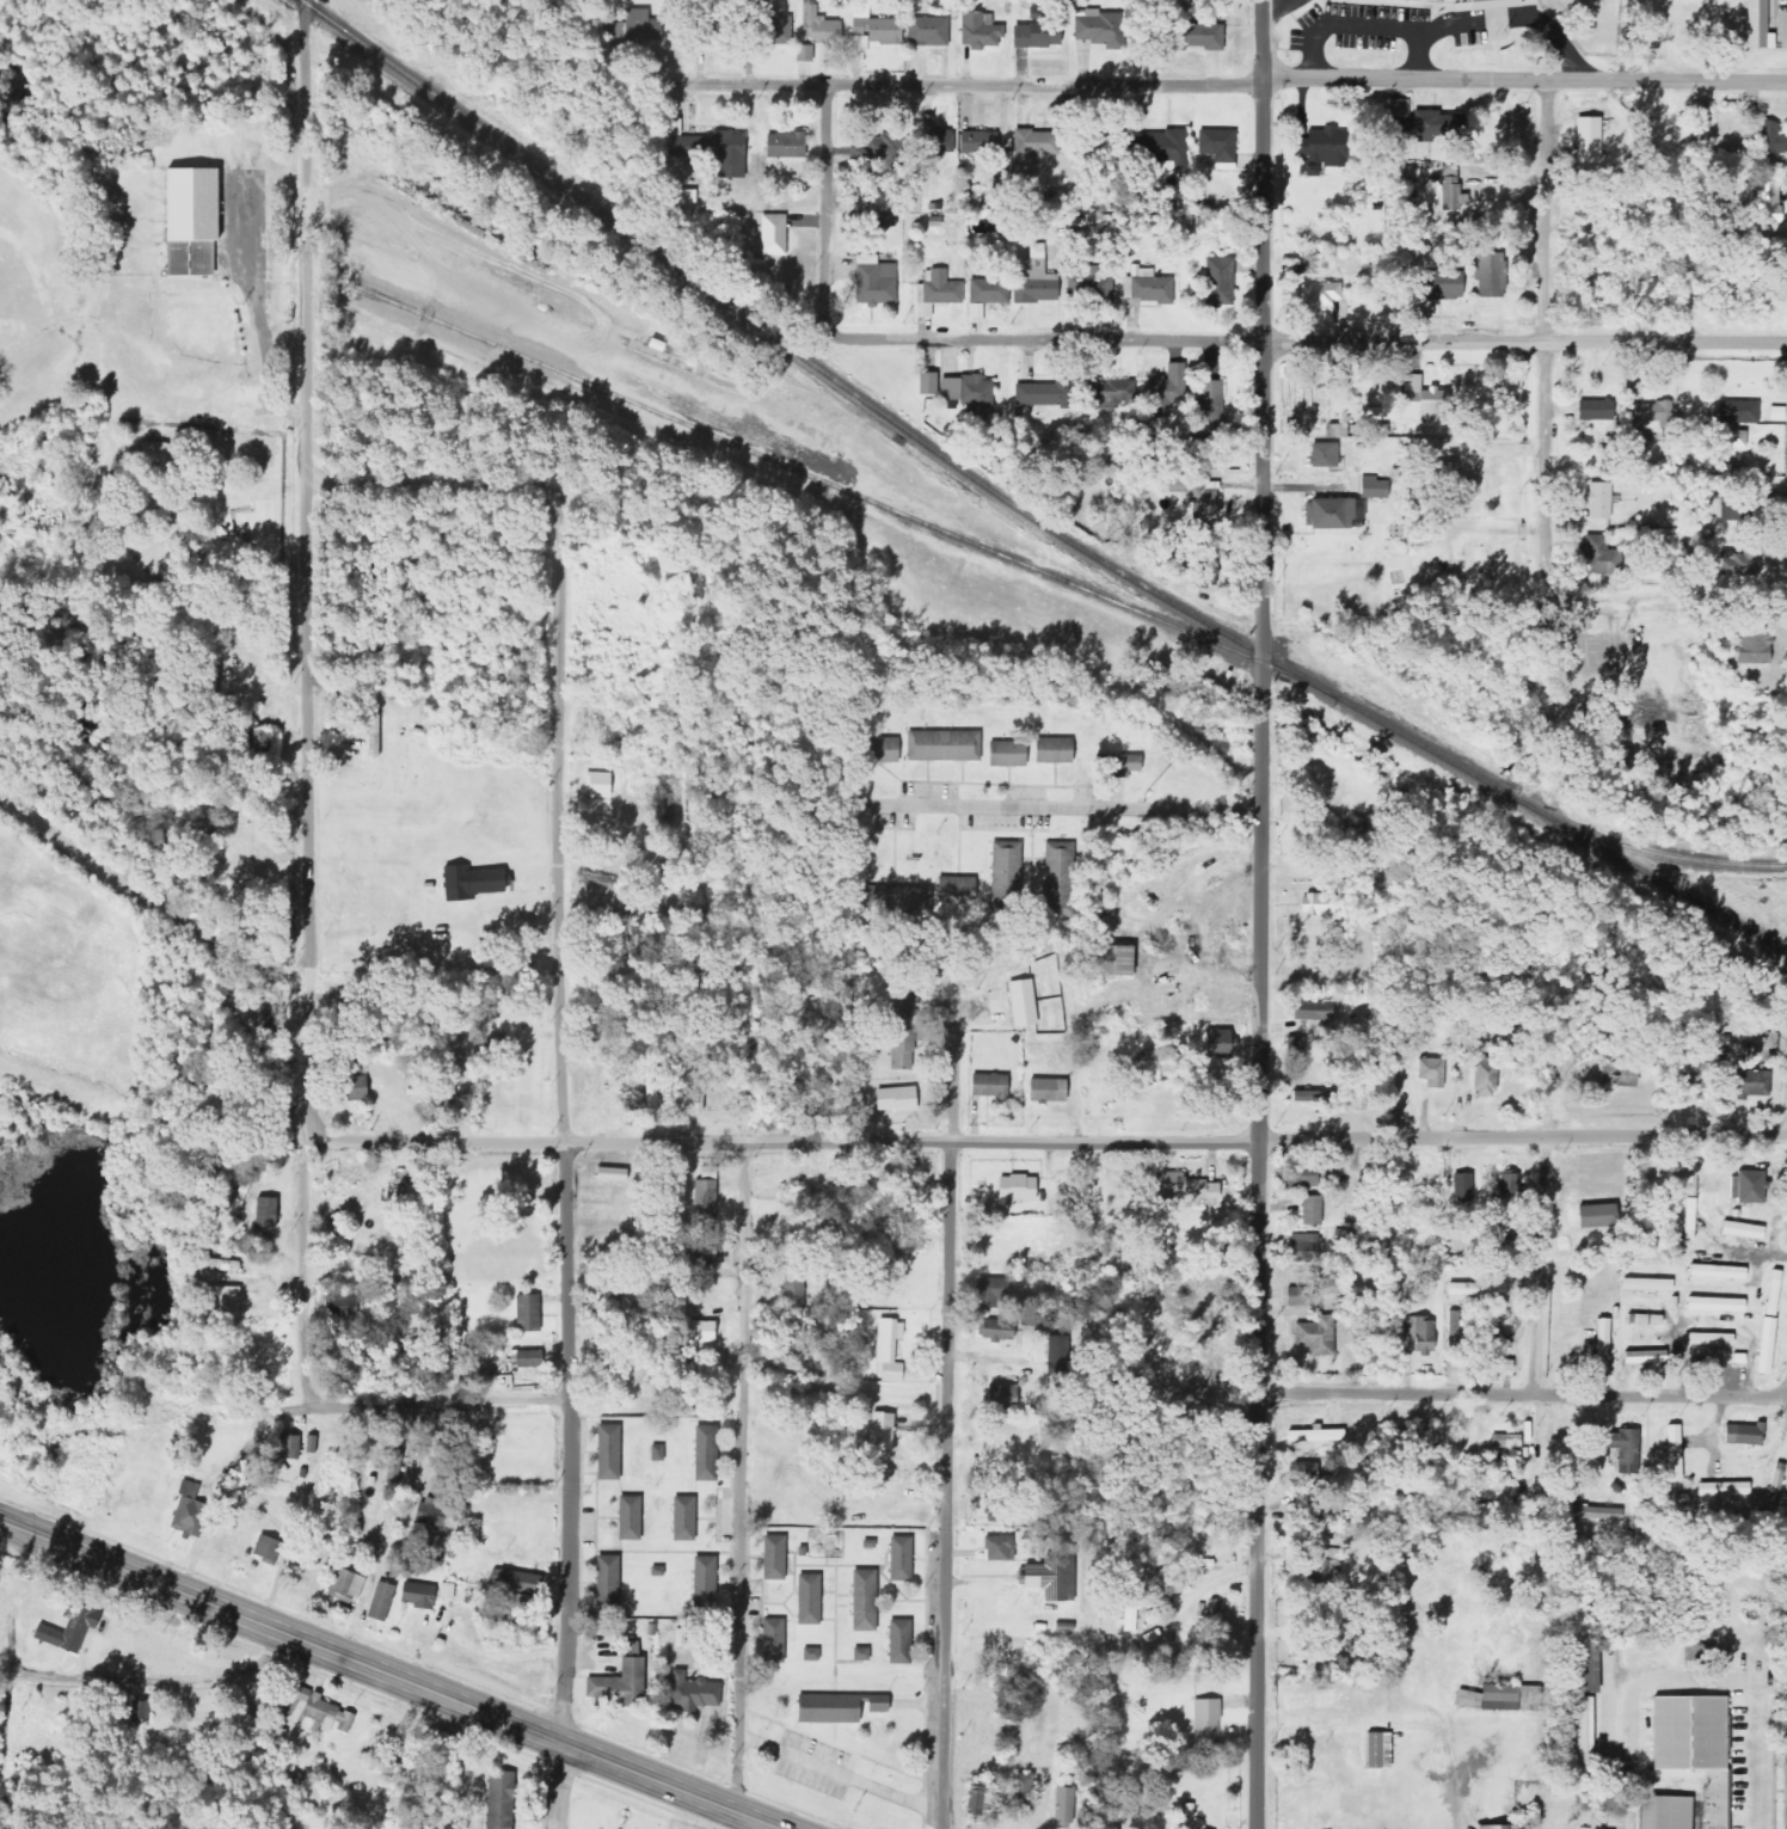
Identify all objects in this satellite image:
building: (1491, 4)
road: (1281, 7)
road: (1518, 17)
building: (1756, 23)
building: (818, 25)
parking lot: (1361, 26)
building: (635, 27)
building: (1095, 27)
road: (1371, 27)
building: (773, 30)
building: (873, 30)
building: (928, 31)
building: (980, 31)
building: (1037, 31)
building: (805, 53)
road: (1226, 86)
building: (1413, 122)
building: (1769, 137)
building: (1589, 140)
building: (938, 142)
building: (977, 142)
building: (1217, 145)
building: (785, 146)
building: (1167, 149)
building: (1320, 149)
building: (718, 152)
building: (879, 152)
building: (1768, 202)
road: (825, 210)
building: (189, 221)
building: (774, 235)
building: (1307, 260)
building: (1491, 276)
building: (1036, 280)
building: (874, 281)
building: (1218, 281)
building: (1095, 283)
building: (1441, 286)
building: (1147, 287)
building: (937, 291)
building: (989, 291)
building: (1320, 294)
road: (256, 303)
road: (1546, 325)
road: (1308, 342)
park: (1, 349)
building: (927, 383)
building: (950, 388)
building: (1166, 391)
building: (1110, 393)
building: (1037, 395)
building: (980, 403)
building: (1423, 403)
building: (1210, 407)
building: (1596, 410)
building: (1652, 412)
building: (1740, 412)
building: (1736, 440)
building: (1324, 455)
building: (1443, 473)
road: (426, 483)
railway: (828, 484)
building: (1374, 487)
building: (1197, 499)
building: (1598, 501)
railway: (1020, 511)
building: (1728, 513)
building: (1331, 514)
building: (1599, 556)
building: (1740, 563)
building: (1204, 566)
building: (1754, 645)
road: (307, 705)
building: (374, 729)
building: (944, 745)
building: (880, 750)
building: (1054, 750)
building: (1007, 754)
building: (1120, 765)
road: (1069, 805)
railway: (1647, 851)
building: (469, 882)
building: (1056, 882)
road: (154, 889)
building: (958, 889)
building: (913, 897)
building: (1316, 904)
road: (1261, 914)
building: (1111, 960)
building: (1023, 1002)
building: (901, 1006)
building: (1312, 1008)
building: (901, 1049)
building: (1297, 1049)
building: (1431, 1073)
building: (1619, 1075)
building: (1485, 1078)
building: (1751, 1084)
building: (698, 1086)
building: (989, 1086)
building: (1691, 1086)
building: (449, 1087)
building: (355, 1088)
building: (1046, 1091)
building: (652, 1093)
building: (1314, 1097)
building: (896, 1099)
road: (565, 1115)
road: (1045, 1142)
building: (610, 1173)
building: (1301, 1176)
building: (1463, 1186)
building: (1504, 1186)
building: (1748, 1186)
building: (1185, 1187)
building: (1015, 1190)
building: (704, 1198)
building: (1312, 1210)
building: (265, 1213)
building: (1596, 1215)
building: (1690, 1219)
building: (1743, 1230)
building: (1304, 1247)
building: (706, 1252)
building: (1718, 1271)
building: (1647, 1284)
building: (792, 1289)
building: (1476, 1289)
building: (1773, 1293)
building: (993, 1294)
building: (1303, 1297)
building: (1717, 1305)
building: (529, 1313)
building: (1645, 1319)
building: (1454, 1328)
building: (694, 1331)
building: (995, 1331)
building: (1421, 1334)
building: (793, 1336)
building: (1316, 1337)
building: (1711, 1338)
building: (1765, 1345)
building: (1603, 1346)
building: (889, 1349)
building: (528, 1358)
building: (1641, 1358)
building: (1502, 1364)
road: (1786, 1392)
road: (1523, 1395)
building: (1002, 1397)
road: (1531, 1400)
road: (948, 1405)
road: (368, 1407)
building: (882, 1431)
building: (1316, 1435)
building: (1743, 1435)
building: (1506, 1438)
building: (288, 1447)
building: (1626, 1449)
building: (606, 1451)
building: (656, 1453)
building: (702, 1453)
building: (1674, 1453)
building: (397, 1455)
building: (883, 1472)
road: (742, 1478)
building: (1722, 1489)
building: (189, 1511)
building: (432, 1512)
building: (1595, 1512)
building: (1296, 1516)
building: (626, 1517)
building: (681, 1518)
building: (997, 1548)
building: (266, 1549)
building: (772, 1558)
building: (897, 1559)
building: (1051, 1578)
building: (1321, 1579)
building: (516, 1582)
building: (604, 1583)
building: (701, 1584)
building: (345, 1585)
building: (448, 1591)
building: (417, 1595)
building: (806, 1598)
building: (861, 1601)
building: (381, 1602)
building: (1131, 1603)
building: (521, 1609)
building: (1214, 1622)
building: (68, 1629)
building: (770, 1640)
building: (897, 1641)
building: (630, 1649)
building: (811, 1655)
building: (860, 1655)
building: (1582, 1670)
road: (389, 1673)
road: (156, 1681)
road: (1726, 1681)
building: (618, 1686)
building: (693, 1693)
building: (1503, 1699)
road: (10, 1707)
building: (834, 1707)
building: (320, 1711)
building: (1206, 1723)
building: (1579, 1733)
building: (1693, 1745)
building: (1377, 1750)
parking lot: (815, 1764)
road: (841, 1774)
road: (560, 1785)
building: (1021, 1792)
building: (497, 1799)
building: (980, 1799)
building: (1063, 1805)
building: (1663, 1811)
building: (1496, 1827)

